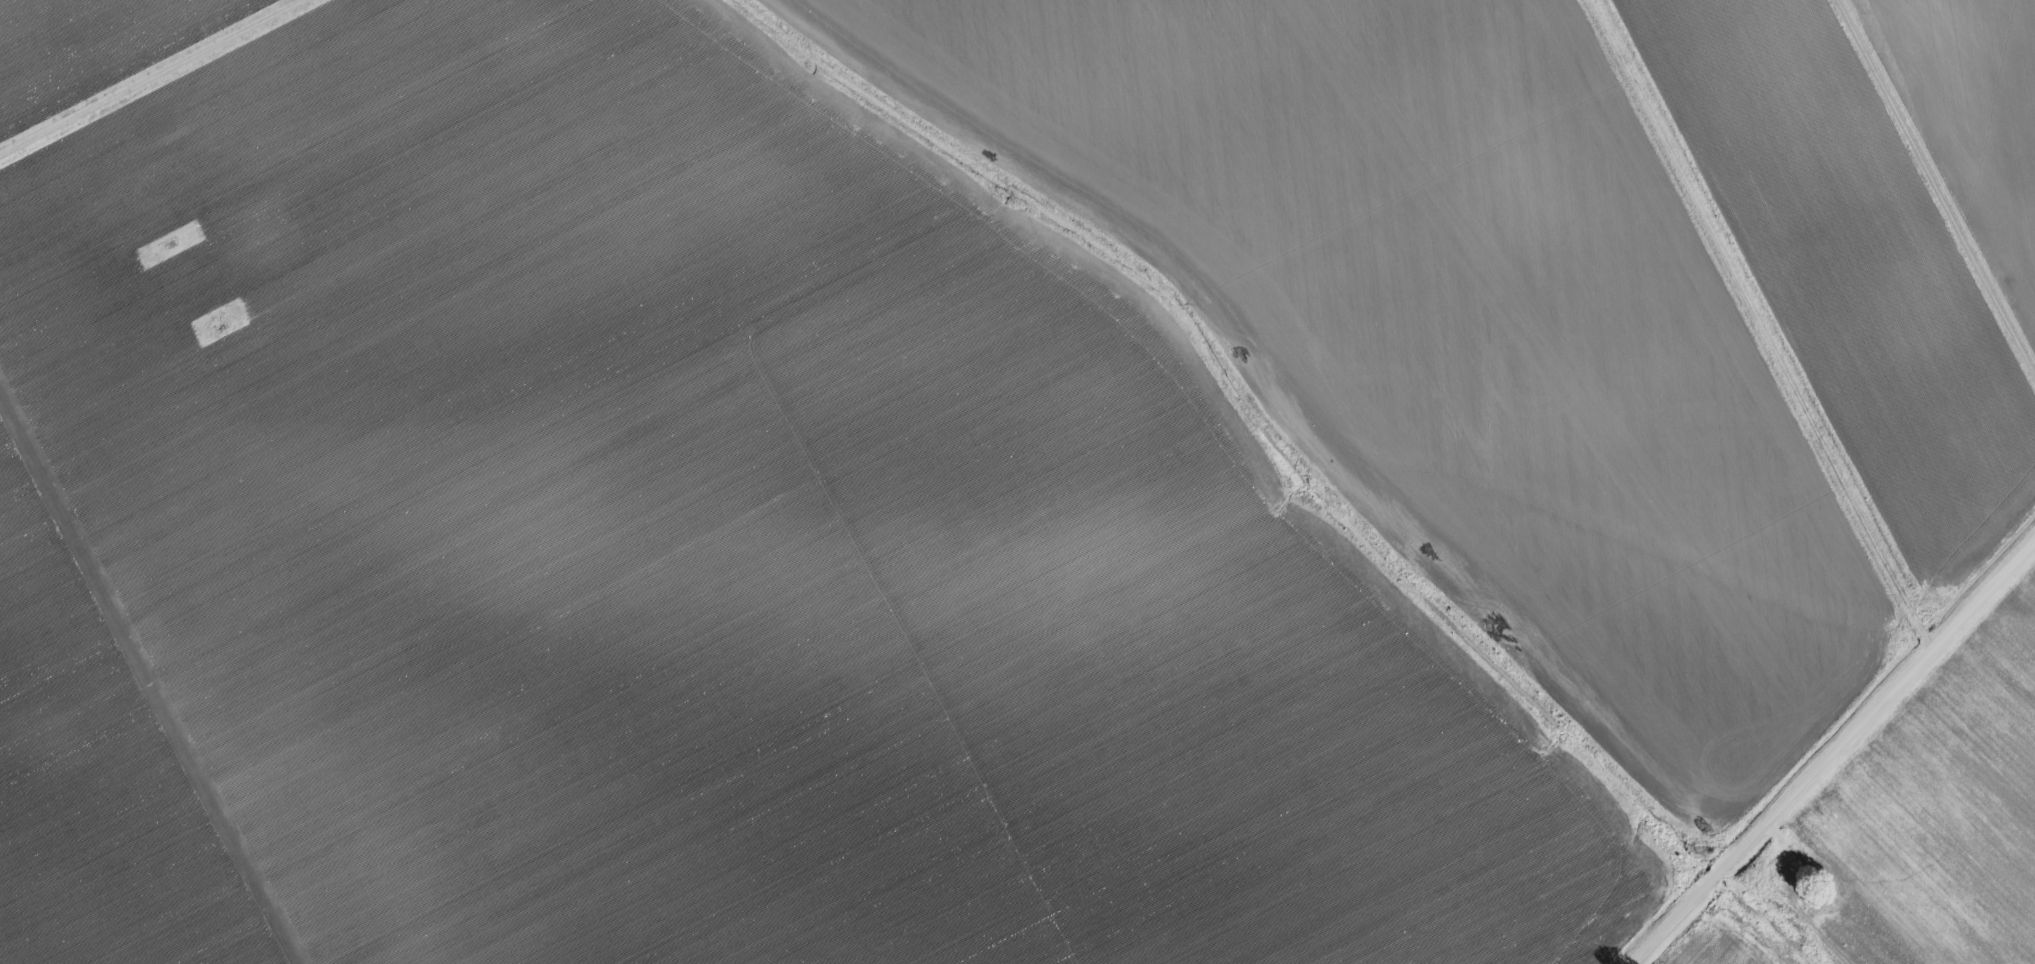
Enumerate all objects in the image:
road: (1825, 743)

